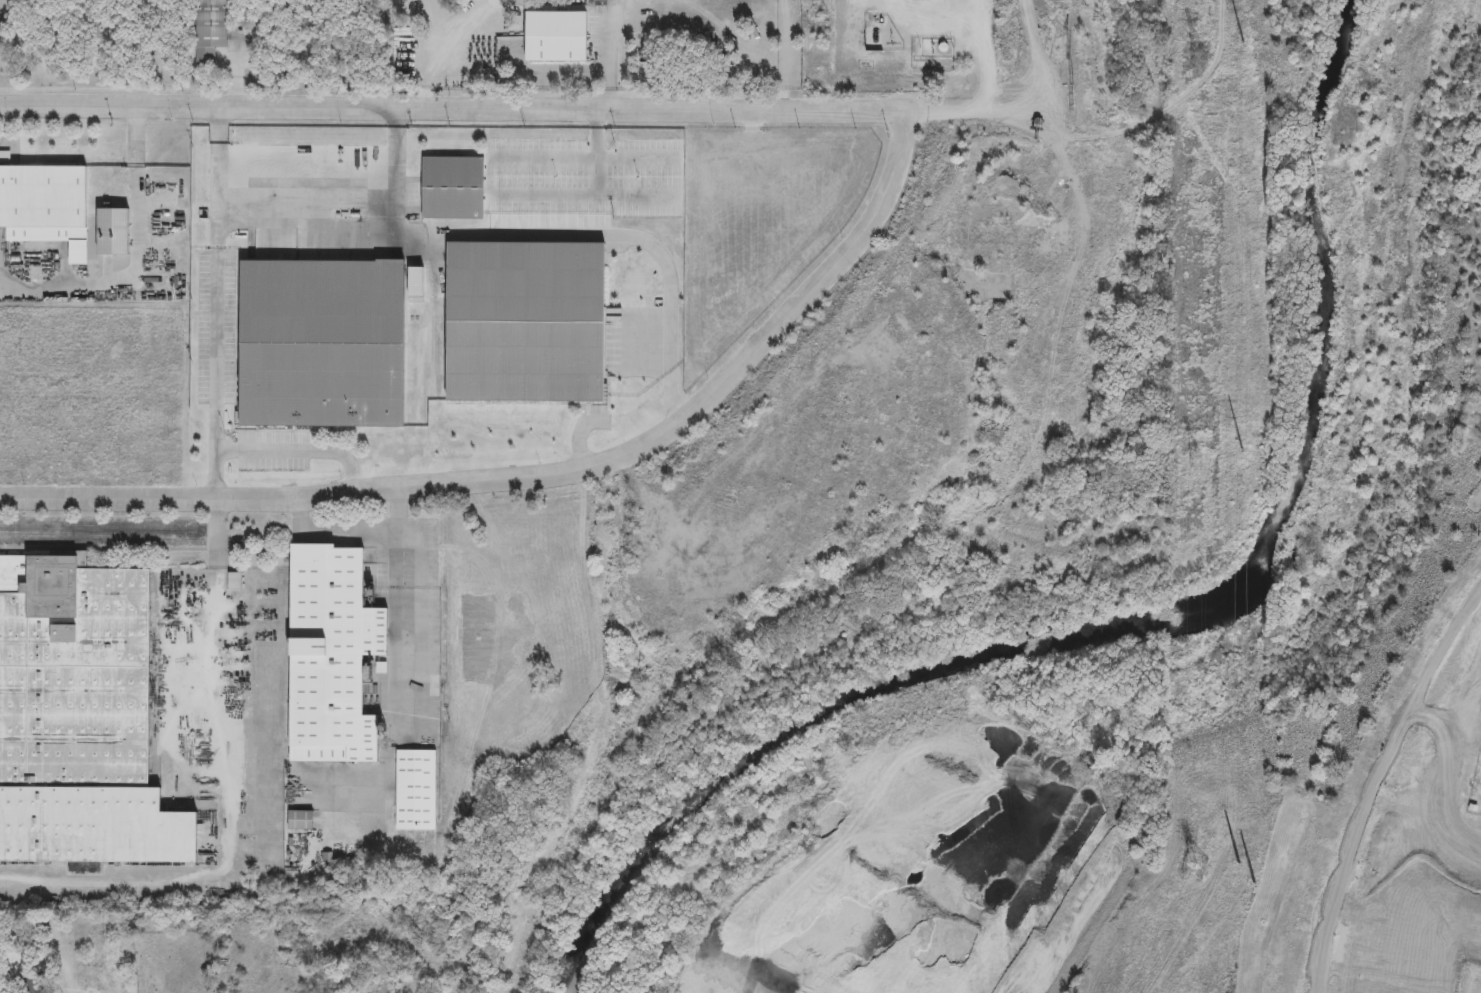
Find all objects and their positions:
building: (208, 29)
building: (553, 36)
power tower: (1243, 41)
power tower: (1197, 52)
road: (613, 59)
road: (985, 71)
road: (448, 107)
river: (1318, 135)
building: (451, 188)
building: (40, 199)
road: (352, 202)
road: (135, 258)
road: (217, 303)
building: (523, 319)
building: (319, 342)
power tower: (1242, 447)
road: (299, 449)
power tower: (1195, 459)
road: (544, 473)
road: (331, 533)
road: (127, 534)
building: (234, 580)
road: (416, 592)
building: (327, 656)
building: (79, 718)
landfill: (1192, 779)
building: (416, 790)
building: (301, 819)
power tower: (1239, 862)
power tower: (1193, 866)
building: (242, 889)
building: (38, 931)
building: (37, 984)

